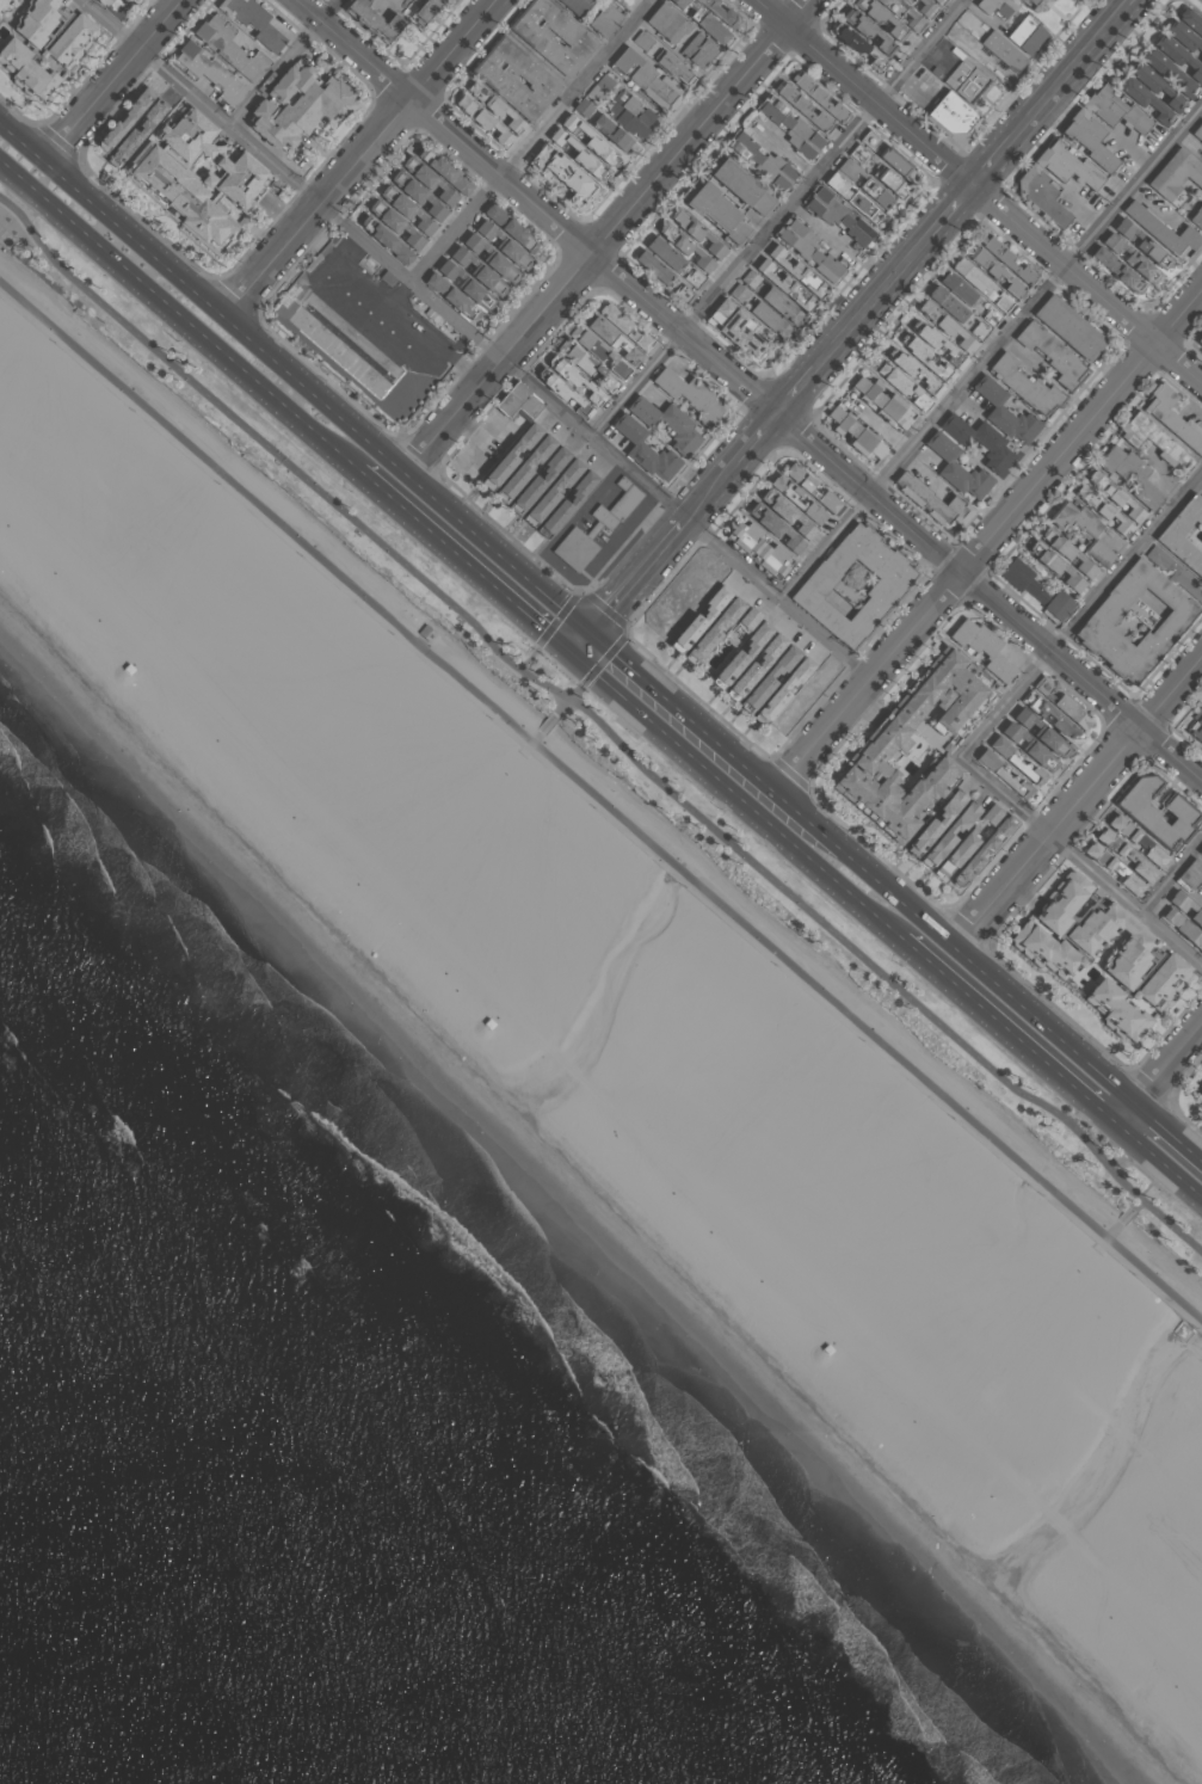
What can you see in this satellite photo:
building: (128, 0)
building: (911, 0)
building: (906, 1)
building: (937, 1)
building: (2, 2)
building: (623, 2)
building: (111, 4)
building: (1033, 4)
building: (577, 6)
building: (993, 7)
building: (425, 10)
building: (925, 10)
building: (717, 14)
building: (877, 17)
building: (912, 17)
building: (605, 20)
building: (374, 21)
building: (253, 23)
building: (665, 23)
building: (1191, 23)
building: (35, 24)
building: (714, 27)
building: (865, 31)
building: (554, 35)
building: (1024, 36)
building: (1182, 37)
building: (645, 38)
building: (69, 41)
building: (229, 49)
building: (698, 50)
building: (1001, 50)
building: (859, 51)
building: (1177, 56)
building: (1201, 61)
road: (284, 63)
building: (674, 64)
building: (1165, 70)
building: (25, 72)
building: (208, 72)
road: (117, 76)
building: (646, 79)
building: (516, 80)
building: (966, 80)
building: (1153, 85)
building: (599, 88)
building: (819, 98)
building: (1141, 98)
building: (801, 107)
building: (298, 109)
building: (495, 109)
building: (1112, 109)
building: (630, 113)
building: (950, 113)
building: (124, 119)
building: (483, 122)
building: (788, 127)
building: (136, 131)
building: (614, 131)
building: (1197, 131)
building: (871, 139)
building: (1087, 139)
building: (587, 140)
road: (535, 142)
road: (363, 153)
building: (859, 153)
building: (575, 154)
building: (763, 164)
building: (900, 164)
building: (1064, 165)
building: (442, 172)
building: (561, 173)
building: (199, 177)
building: (1176, 177)
building: (892, 180)
building: (865, 183)
building: (426, 184)
building: (745, 186)
road: (978, 192)
building: (1042, 197)
building: (852, 198)
building: (417, 199)
building: (403, 213)
building: (716, 215)
building: (837, 216)
road: (781, 219)
building: (1197, 220)
building: (394, 227)
building: (508, 229)
building: (1159, 229)
road: (611, 232)
building: (696, 233)
building: (384, 241)
building: (1141, 245)
building: (503, 246)
building: (685, 246)
building: (807, 250)
building: (666, 252)
building: (1006, 259)
building: (1130, 259)
building: (489, 262)
building: (654, 265)
building: (1115, 271)
building: (997, 272)
building: (477, 273)
building: (797, 273)
building: (973, 275)
building: (696, 278)
building: (752, 278)
building: (387, 279)
building: (464, 287)
building: (785, 287)
building: (960, 287)
building: (685, 291)
building: (741, 293)
building: (451, 299)
building: (949, 302)
building: (783, 304)
road: (863, 310)
road: (177, 312)
building: (432, 316)
building: (771, 318)
building: (625, 326)
building: (945, 327)
building: (1070, 328)
building: (739, 330)
road: (477, 338)
building: (614, 338)
building: (1200, 339)
building: (935, 344)
building: (339, 350)
building: (600, 350)
building: (1049, 353)
road: (991, 355)
building: (925, 362)
building: (591, 363)
road: (297, 365)
building: (911, 374)
building: (577, 379)
building: (1023, 386)
building: (902, 387)
building: (565, 392)
road: (747, 393)
building: (689, 394)
building: (519, 401)
building: (880, 404)
building: (1004, 414)
building: (1172, 419)
building: (667, 423)
building: (856, 433)
building: (1153, 439)
building: (978, 442)
building: (647, 450)
building: (514, 455)
building: (528, 467)
building: (956, 472)
building: (1129, 475)
building: (542, 479)
building: (812, 486)
building: (555, 491)
building: (1114, 497)
building: (797, 499)
building: (931, 500)
building: (569, 504)
building: (1103, 511)
building: (785, 512)
building: (773, 525)
building: (597, 527)
building: (1084, 533)
building: (1186, 535)
road: (988, 537)
building: (759, 549)
building: (1066, 552)
road: (463, 558)
building: (1055, 567)
building: (1175, 571)
building: (853, 586)
building: (1035, 592)
building: (750, 617)
road: (1081, 617)
building: (175, 620)
building: (701, 621)
building: (1134, 622)
traffic signals: (597, 623)
building: (715, 632)
building: (430, 633)
road: (584, 636)
building: (980, 648)
road: (534, 650)
traffic signals: (571, 651)
building: (742, 656)
road: (639, 664)
building: (754, 670)
building: (769, 681)
road: (582, 684)
road: (616, 688)
building: (785, 690)
building: (1061, 703)
road: (551, 719)
building: (1049, 719)
road: (600, 722)
building: (1195, 731)
building: (1038, 733)
building: (883, 742)
building: (1027, 748)
building: (1021, 765)
building: (1006, 777)
road: (600, 799)
road: (1078, 800)
building: (1155, 813)
building: (933, 824)
road: (781, 832)
building: (948, 835)
building: (969, 842)
building: (1138, 843)
building: (982, 851)
building: (1200, 853)
building: (1123, 856)
road: (1081, 862)
building: (1114, 872)
building: (1190, 874)
road: (1171, 879)
road: (907, 903)
building: (1186, 911)
building: (1182, 929)
building: (1061, 955)
building: (523, 986)
road: (1009, 1029)
park: (821, 1054)
road: (1159, 1072)
building: (1200, 1097)
road: (1169, 1126)
road: (1159, 1157)
building: (859, 1322)

